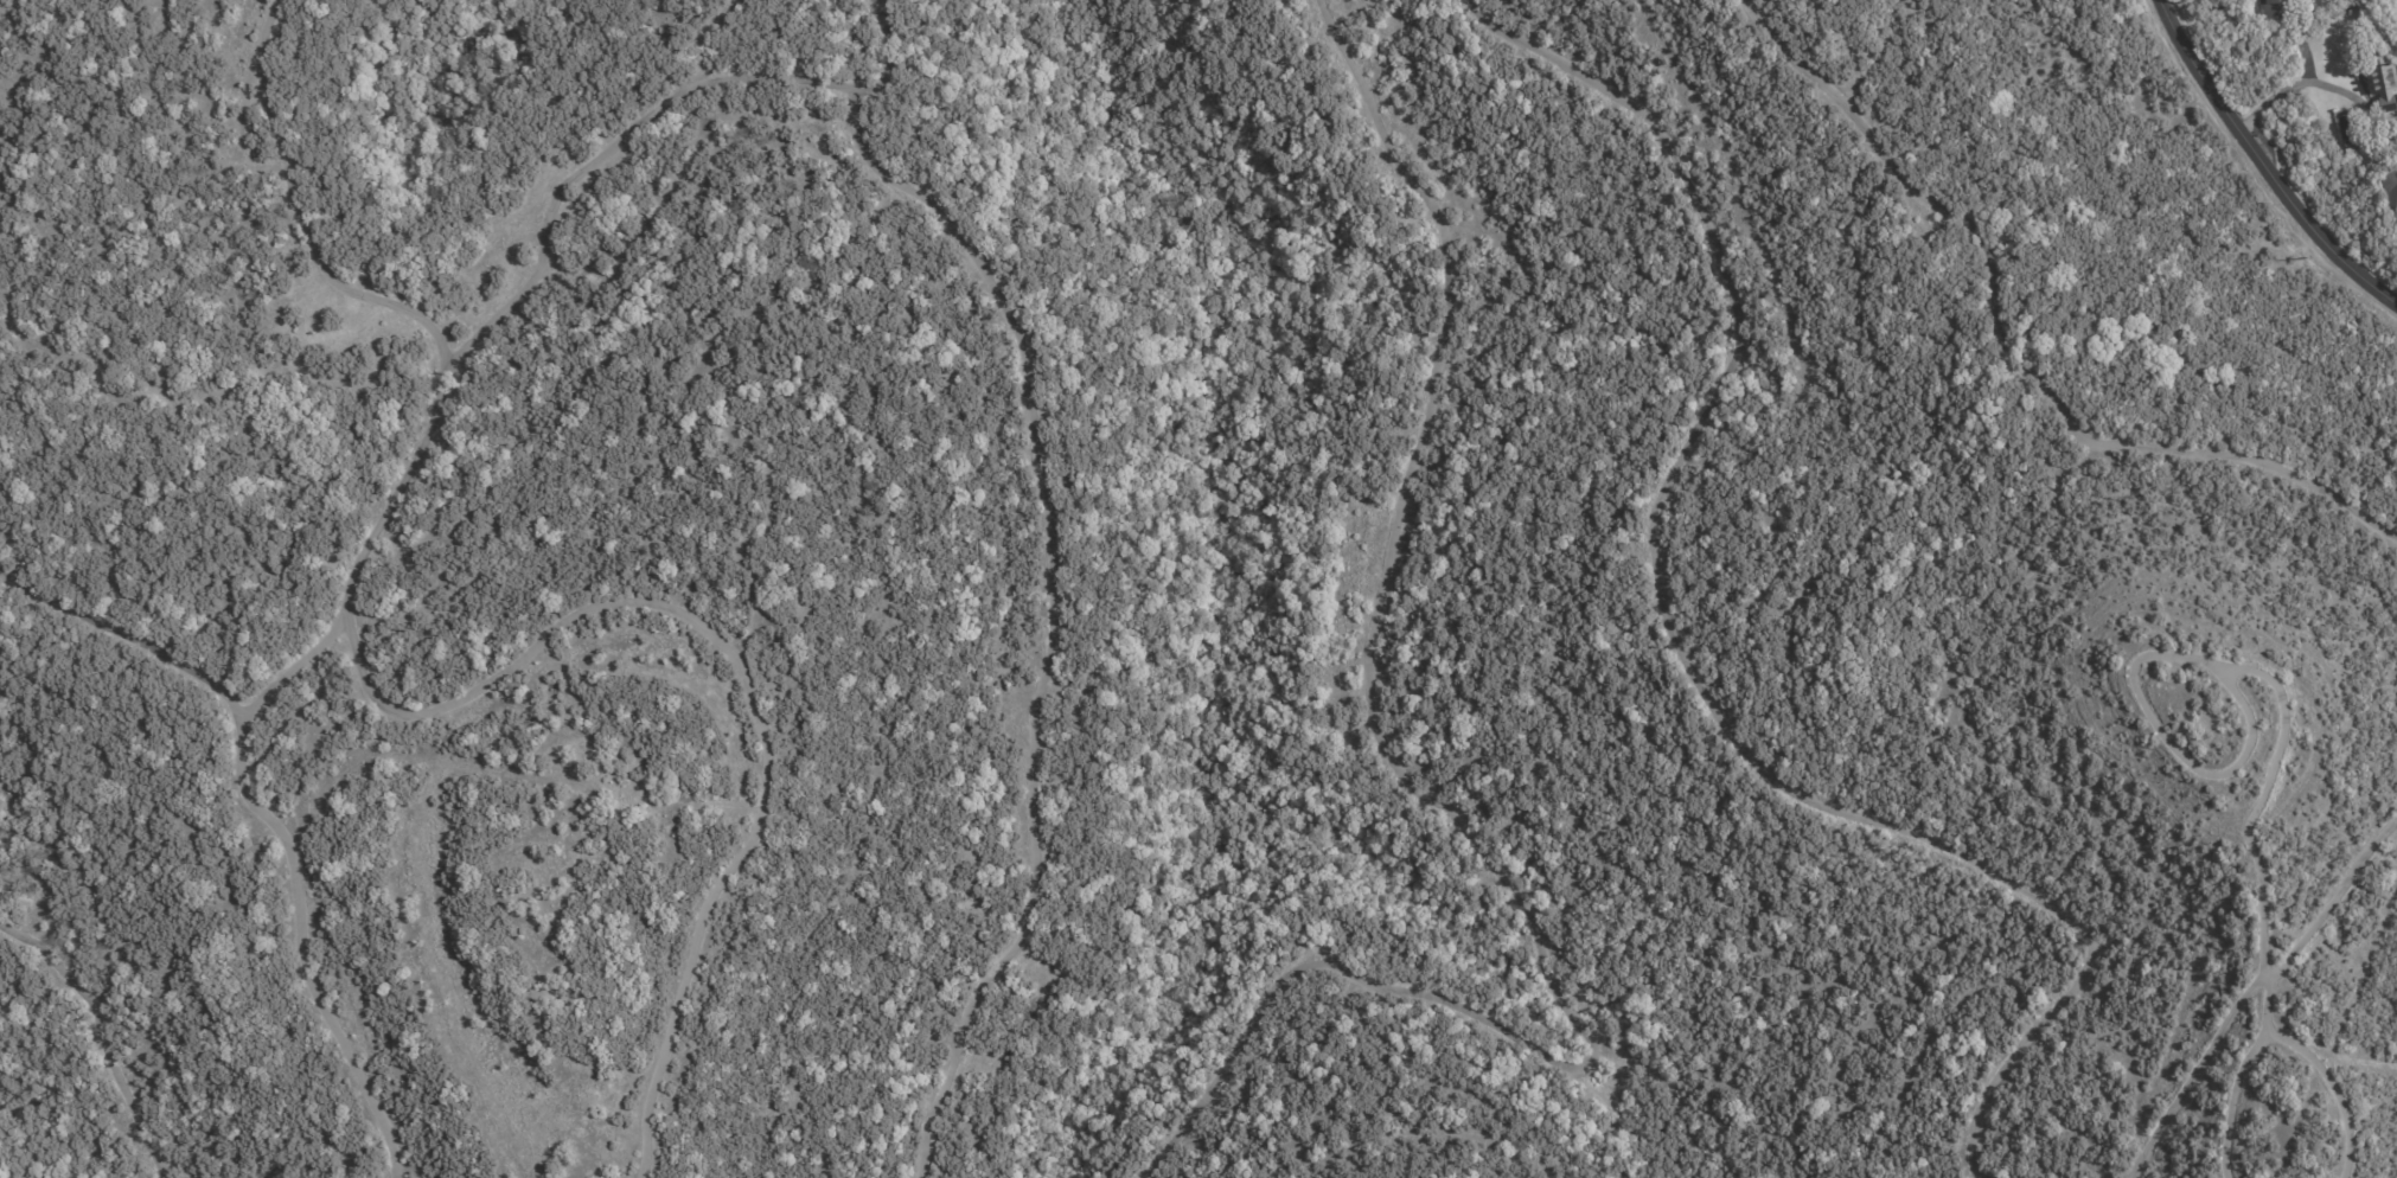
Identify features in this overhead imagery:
building: (2271, 9)
building: (2380, 82)
building: (2396, 103)
road: (2271, 153)
building: (2389, 191)
building: (2396, 274)

